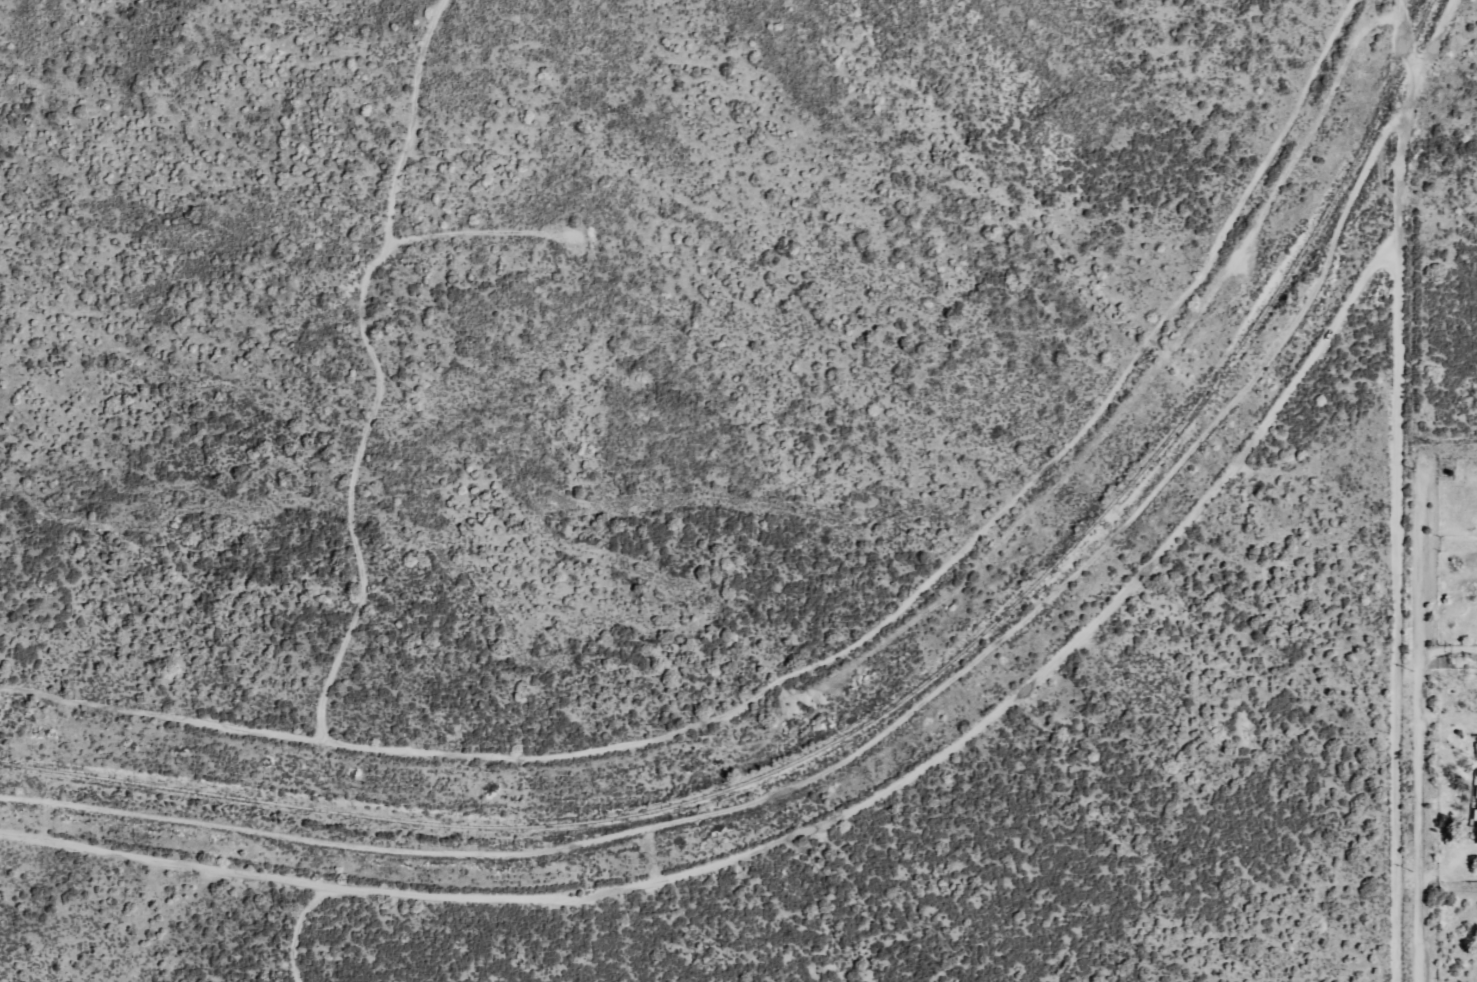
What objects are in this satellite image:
road: (1451, 30)
road: (1428, 63)
road: (1440, 455)
road: (1404, 488)
railway: (880, 707)
building: (1475, 815)

